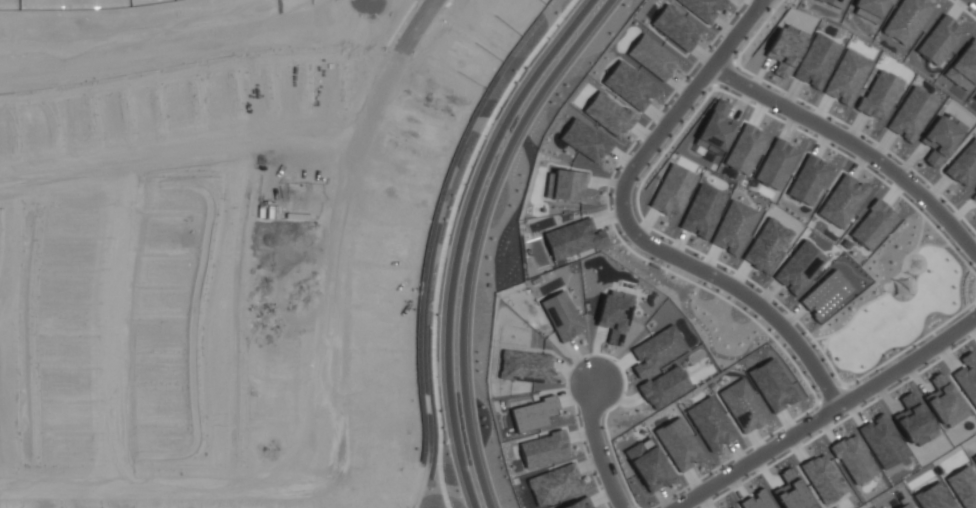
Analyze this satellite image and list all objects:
road: (765, 3)
building: (835, 3)
building: (870, 9)
building: (907, 20)
building: (940, 40)
building: (816, 61)
building: (964, 67)
building: (847, 77)
building: (879, 95)
building: (975, 97)
road: (676, 112)
building: (911, 114)
building: (940, 139)
road: (856, 145)
building: (746, 149)
road: (184, 153)
building: (776, 164)
building: (963, 164)
building: (975, 189)
building: (673, 190)
building: (703, 211)
building: (874, 225)
building: (734, 227)
road: (353, 229)
road: (477, 236)
road: (456, 237)
building: (573, 238)
building: (767, 246)
building: (826, 295)
park: (900, 299)
road: (749, 300)
building: (614, 315)
road: (128, 322)
building: (657, 350)
building: (967, 377)
building: (773, 385)
building: (664, 387)
building: (944, 401)
building: (743, 406)
road: (823, 412)
building: (913, 420)
building: (882, 441)
road: (597, 448)
building: (854, 459)
building: (823, 478)
road: (162, 485)
building: (791, 492)
building: (757, 500)
building: (578, 504)
building: (732, 507)

